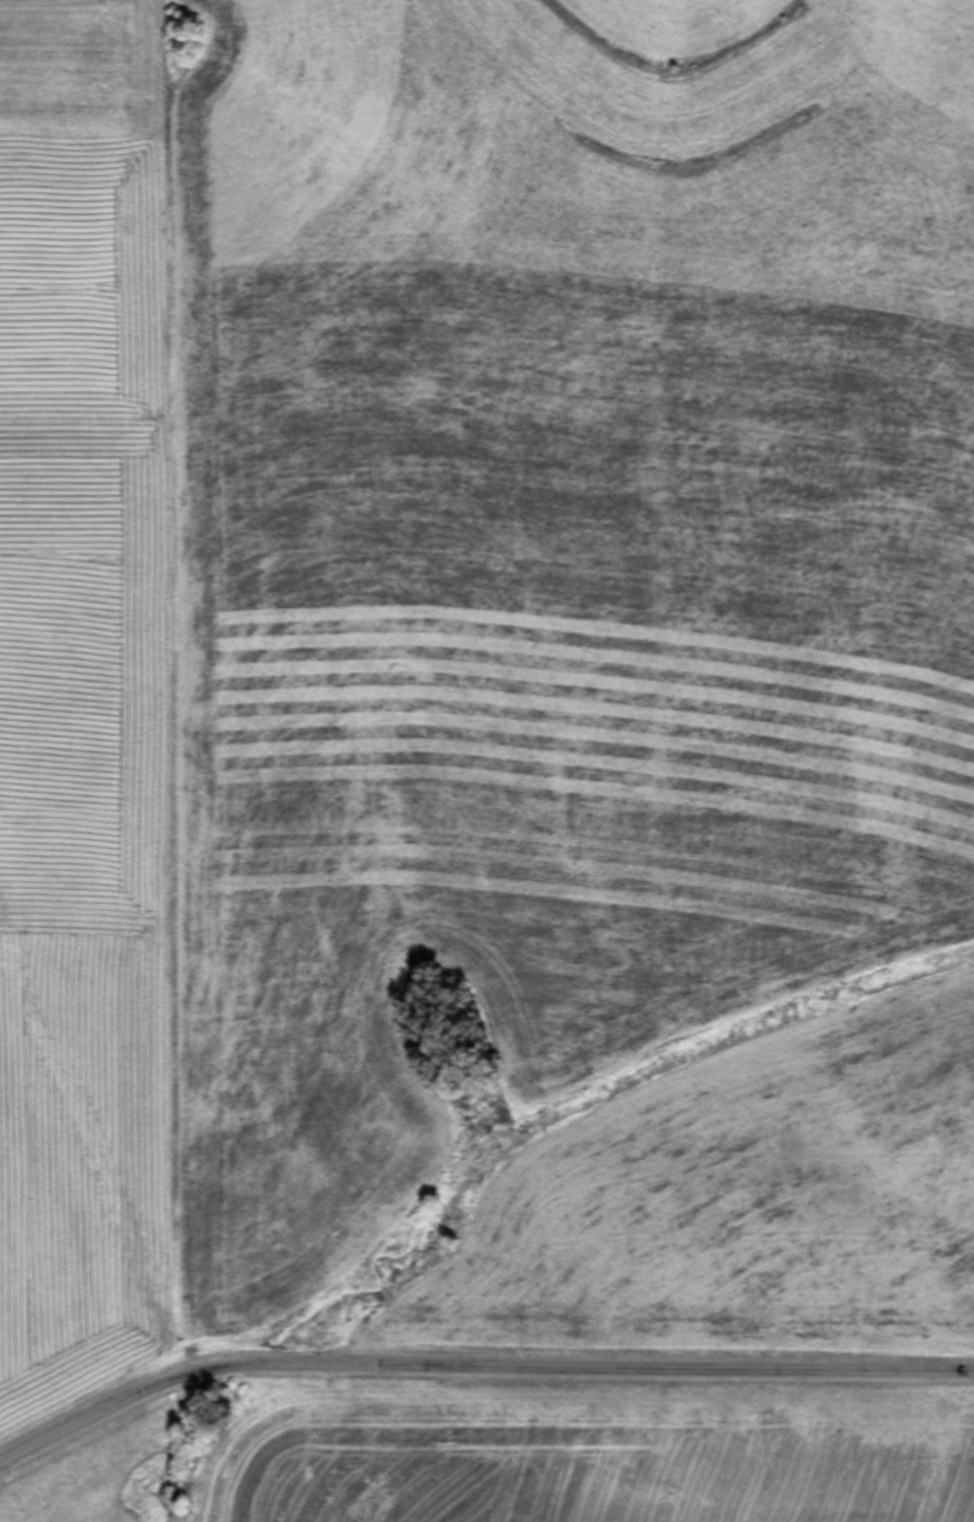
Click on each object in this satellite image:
road: (474, 1367)

